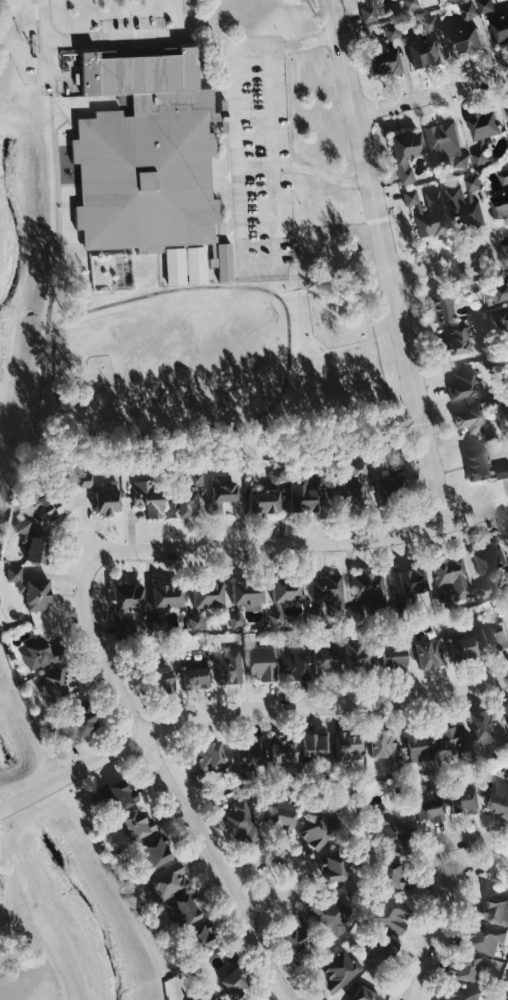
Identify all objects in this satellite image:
building: (413, 4)
building: (490, 6)
building: (472, 11)
building: (368, 14)
road: (331, 18)
building: (434, 26)
building: (500, 30)
building: (391, 33)
road: (113, 36)
building: (464, 42)
building: (425, 54)
building: (382, 64)
road: (430, 95)
road: (272, 104)
building: (506, 113)
building: (484, 125)
building: (440, 144)
building: (406, 154)
building: (479, 157)
road: (257, 165)
building: (145, 180)
building: (501, 196)
building: (463, 204)
building: (426, 213)
road: (242, 223)
road: (449, 262)
building: (224, 263)
building: (185, 266)
road: (390, 281)
building: (500, 289)
building: (444, 304)
building: (505, 325)
building: (455, 342)
building: (462, 386)
building: (470, 422)
building: (395, 461)
building: (480, 465)
building: (356, 469)
building: (502, 470)
building: (85, 480)
building: (390, 490)
building: (222, 491)
building: (346, 495)
building: (302, 496)
building: (188, 497)
building: (147, 499)
building: (105, 501)
building: (264, 501)
building: (51, 503)
building: (22, 527)
building: (507, 539)
road: (341, 545)
building: (37, 550)
building: (490, 559)
building: (451, 579)
building: (412, 581)
building: (31, 590)
building: (287, 590)
building: (328, 592)
building: (247, 593)
building: (368, 593)
building: (207, 595)
building: (167, 596)
building: (125, 605)
building: (507, 612)
building: (354, 616)
building: (276, 618)
building: (235, 620)
building: (197, 621)
building: (494, 634)
building: (462, 645)
building: (428, 654)
building: (41, 655)
building: (393, 658)
building: (358, 659)
building: (325, 661)
building: (261, 664)
building: (228, 667)
building: (294, 667)
building: (195, 675)
building: (56, 684)
building: (160, 684)
road: (243, 708)
building: (505, 710)
building: (483, 723)
building: (78, 726)
building: (451, 737)
building: (382, 744)
building: (417, 744)
building: (315, 745)
building: (348, 746)
building: (283, 750)
building: (250, 755)
building: (209, 756)
road: (163, 757)
building: (117, 796)
building: (462, 800)
building: (498, 800)
building: (427, 804)
building: (280, 813)
building: (239, 823)
building: (136, 825)
building: (319, 828)
building: (389, 833)
road: (480, 840)
building: (154, 852)
road: (295, 867)
building: (334, 868)
building: (389, 875)
building: (167, 883)
building: (495, 910)
building: (183, 911)
building: (330, 914)
building: (390, 915)
park: (30, 931)
building: (296, 934)
building: (201, 938)
building: (480, 938)
road: (424, 940)
building: (381, 945)
building: (465, 968)
building: (339, 971)
building: (234, 982)
road: (281, 992)
building: (458, 993)
building: (363, 995)
building: (199, 998)
building: (507, 999)

